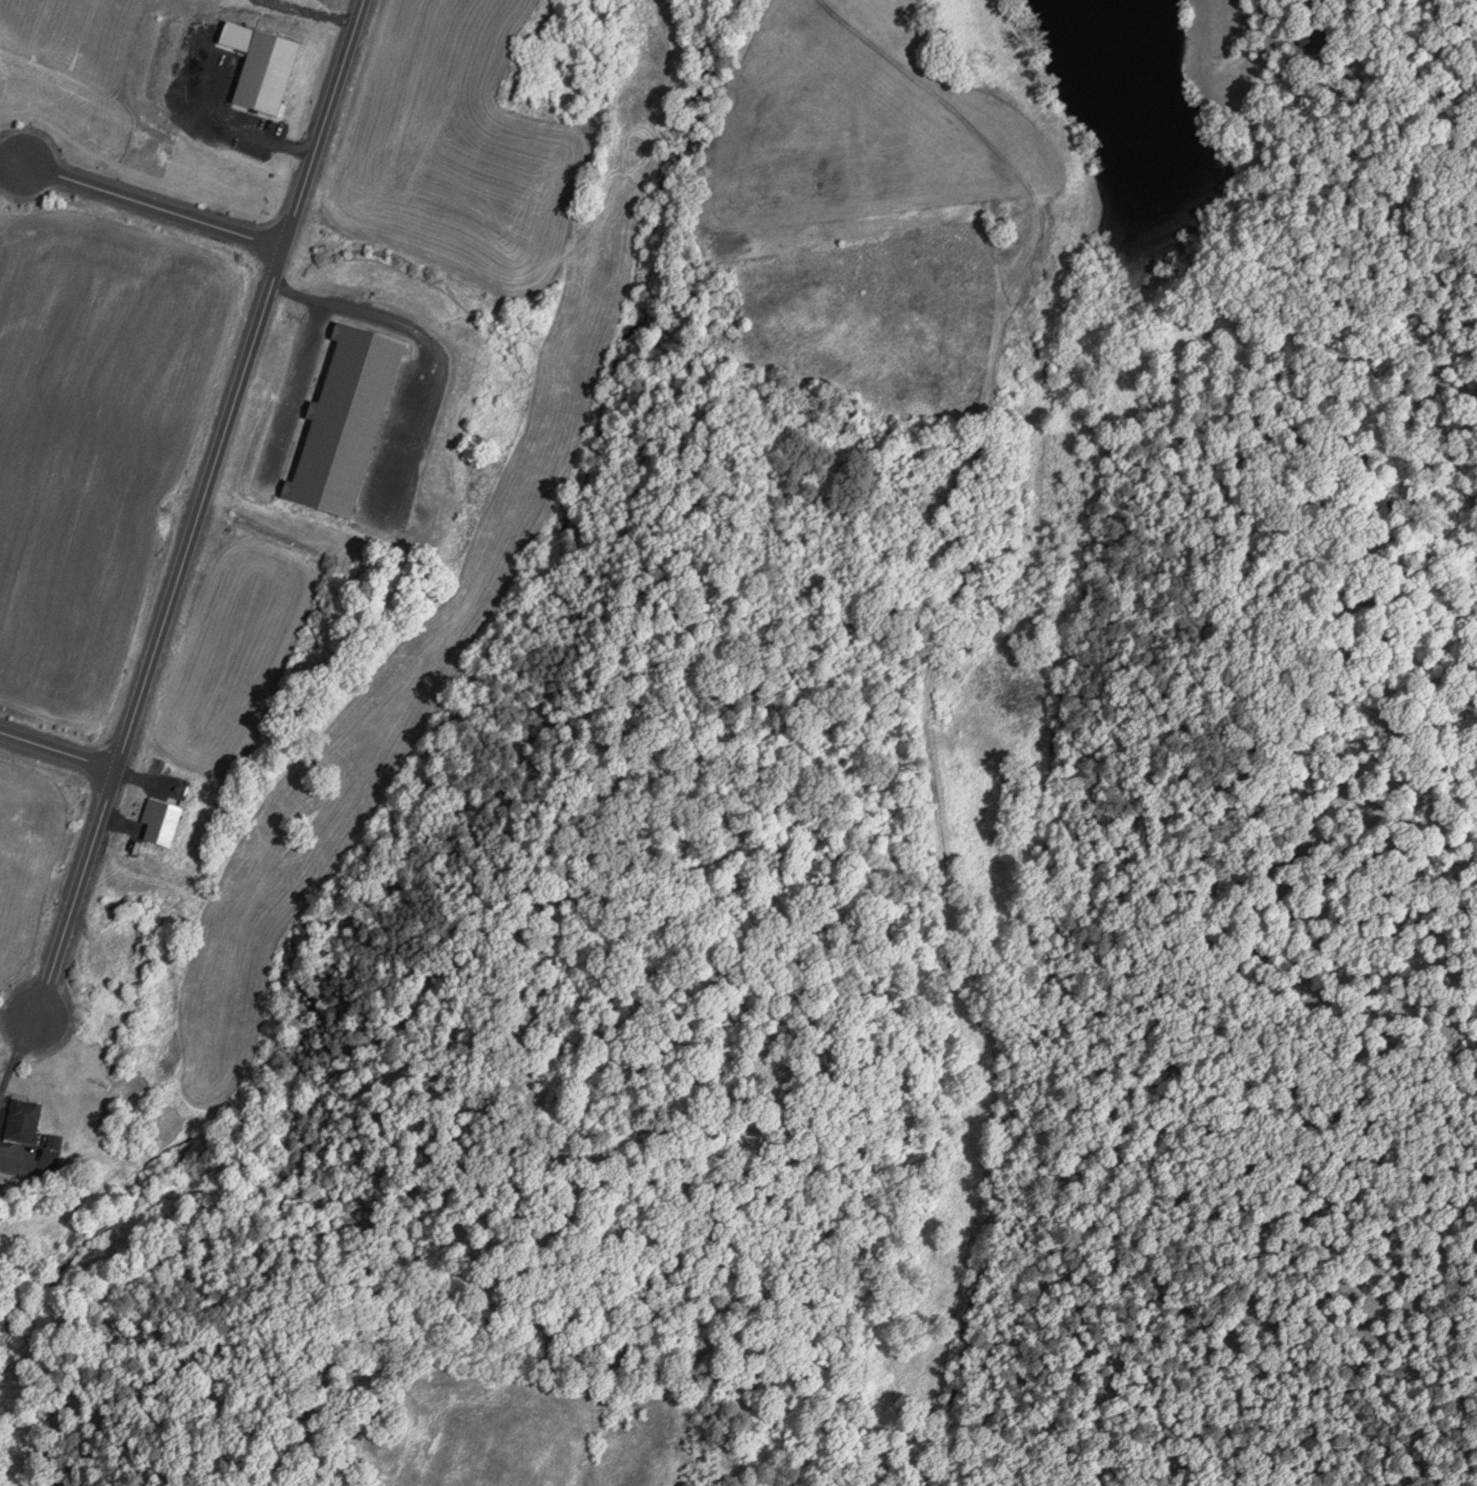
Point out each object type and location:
road: (150, 203)
building: (346, 419)
road: (198, 509)
road: (57, 751)
building: (22, 1119)

